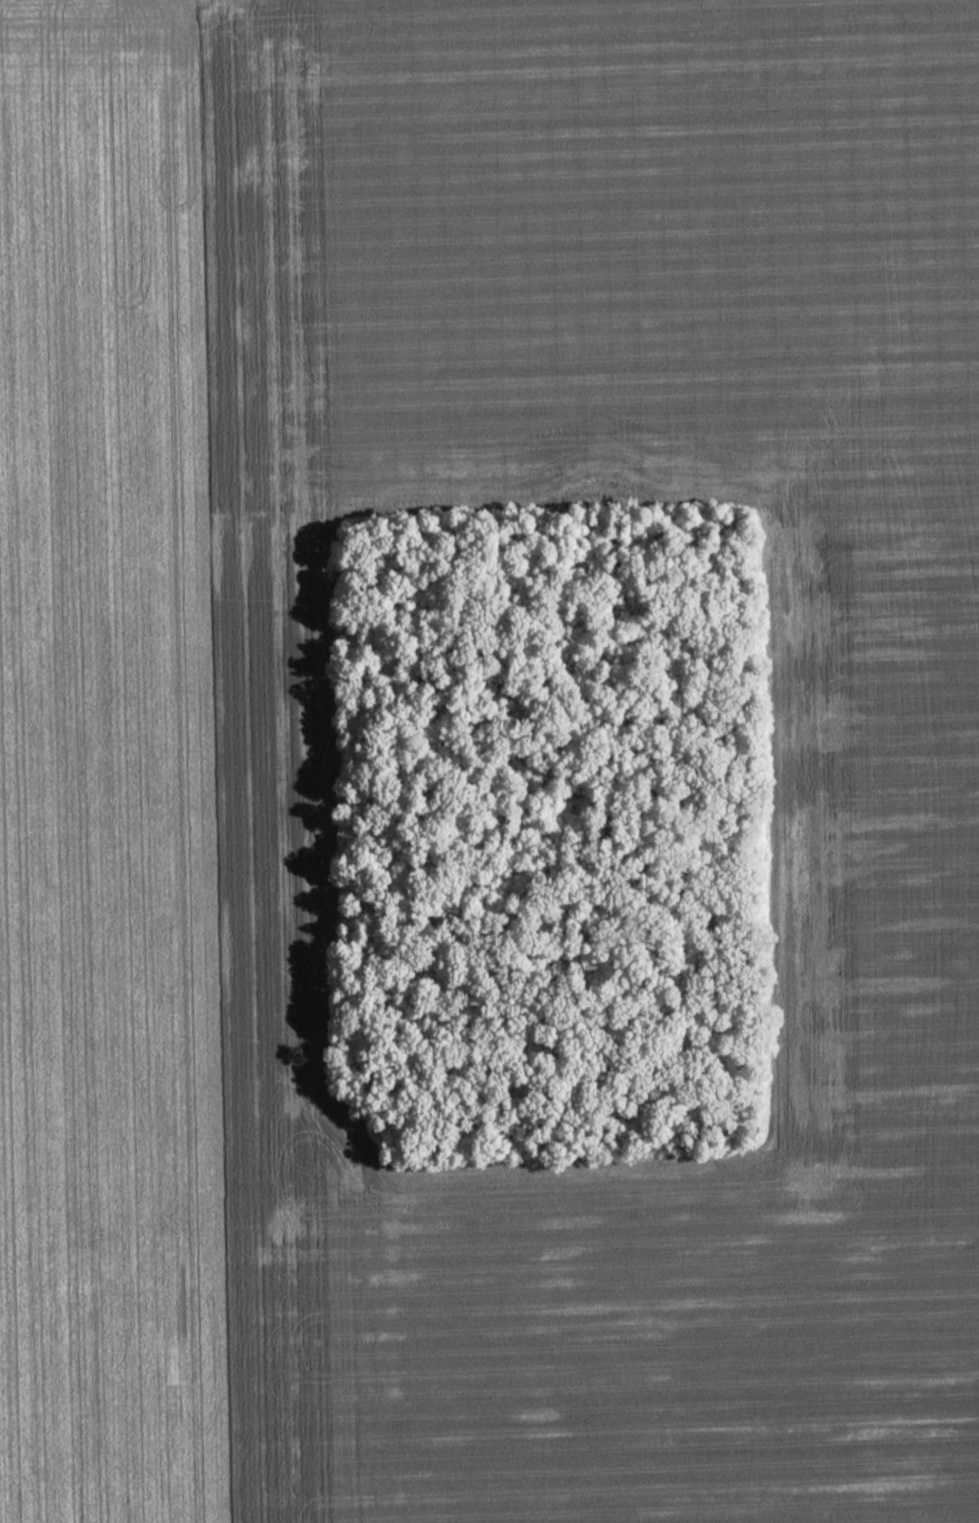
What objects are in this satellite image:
crop: (147, 729)
crop: (876, 802)

